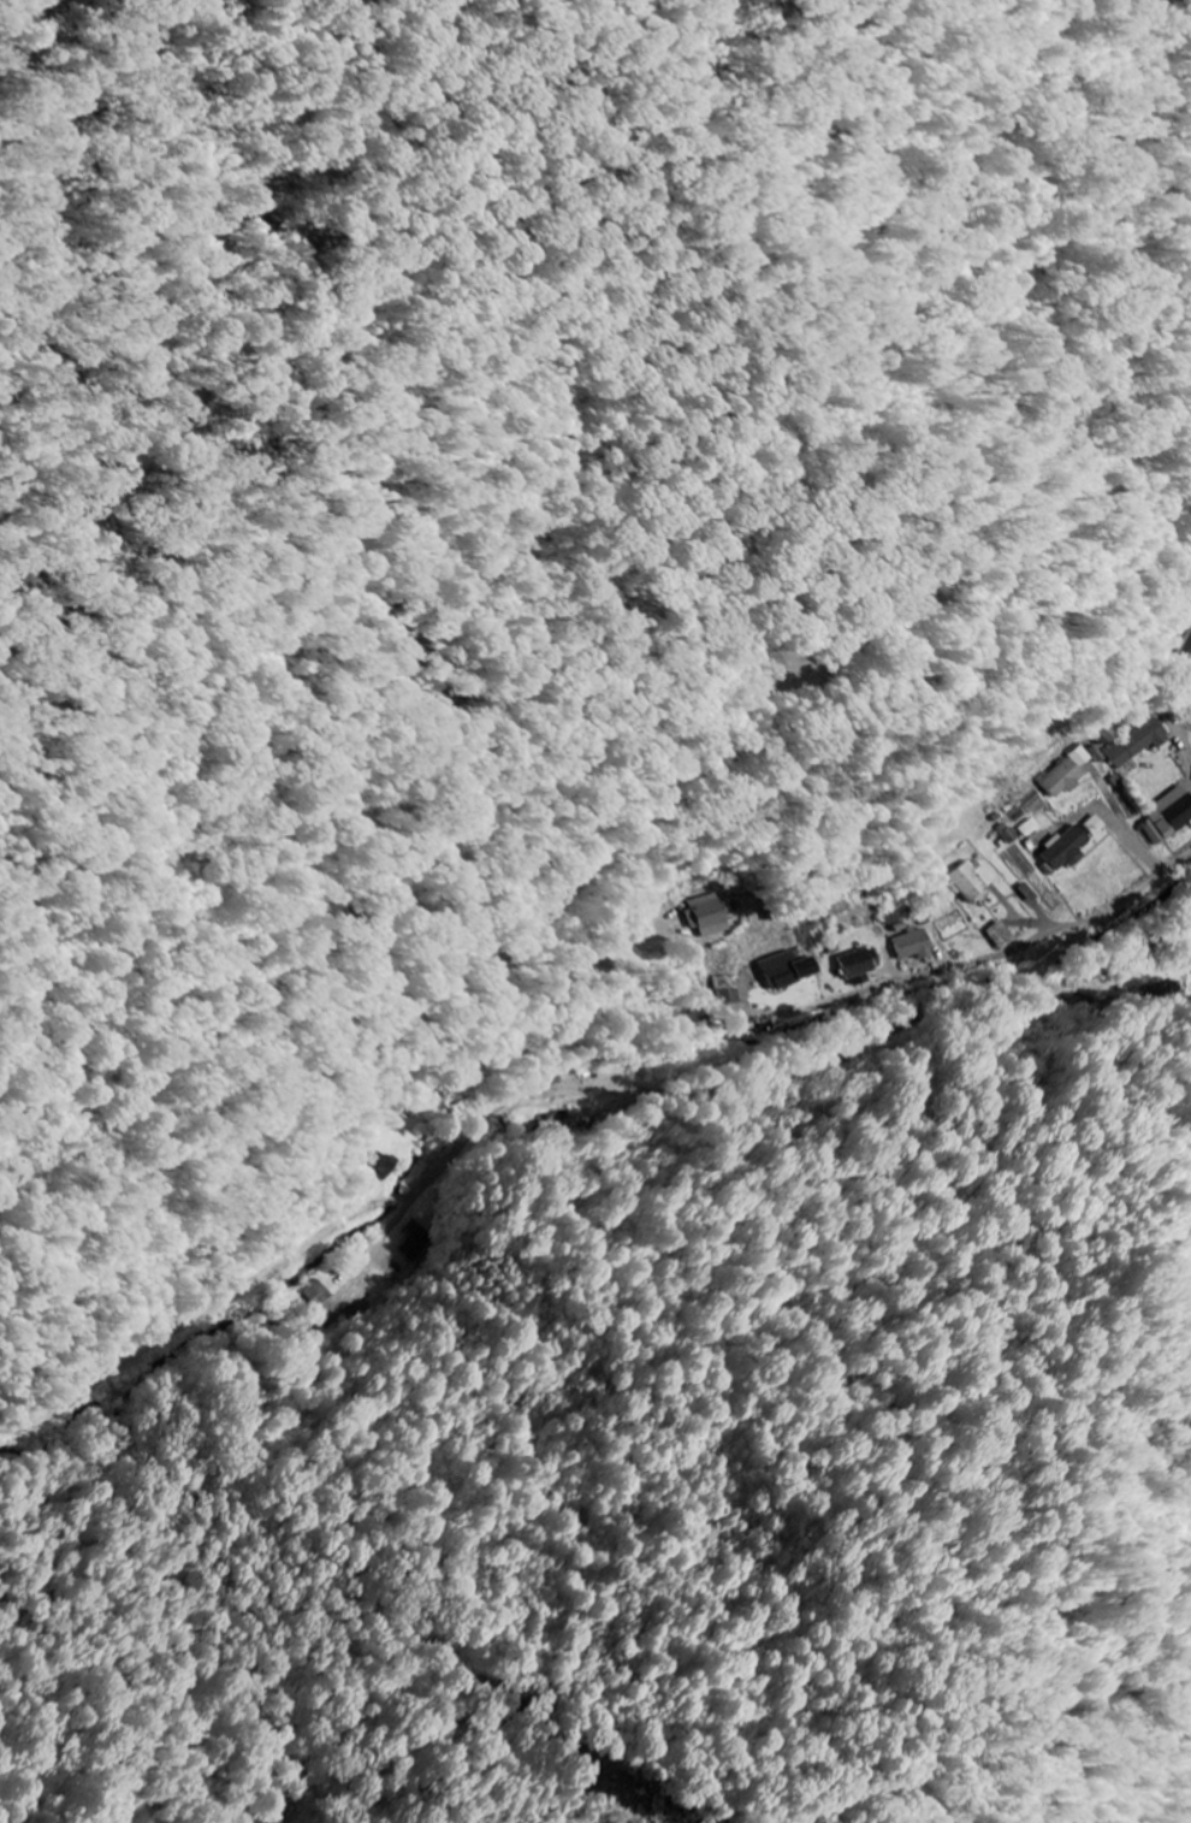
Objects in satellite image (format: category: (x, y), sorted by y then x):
building: (1185, 653)
road: (752, 714)
building: (1136, 742)
building: (1097, 754)
building: (1061, 781)
building: (1168, 817)
building: (1094, 827)
building: (1062, 851)
building: (971, 882)
building: (706, 917)
building: (999, 937)
building: (911, 946)
building: (855, 964)
building: (786, 971)
building: (725, 992)
road: (804, 1010)
road: (517, 1099)
building: (378, 1165)
building: (413, 1241)
building: (318, 1295)

